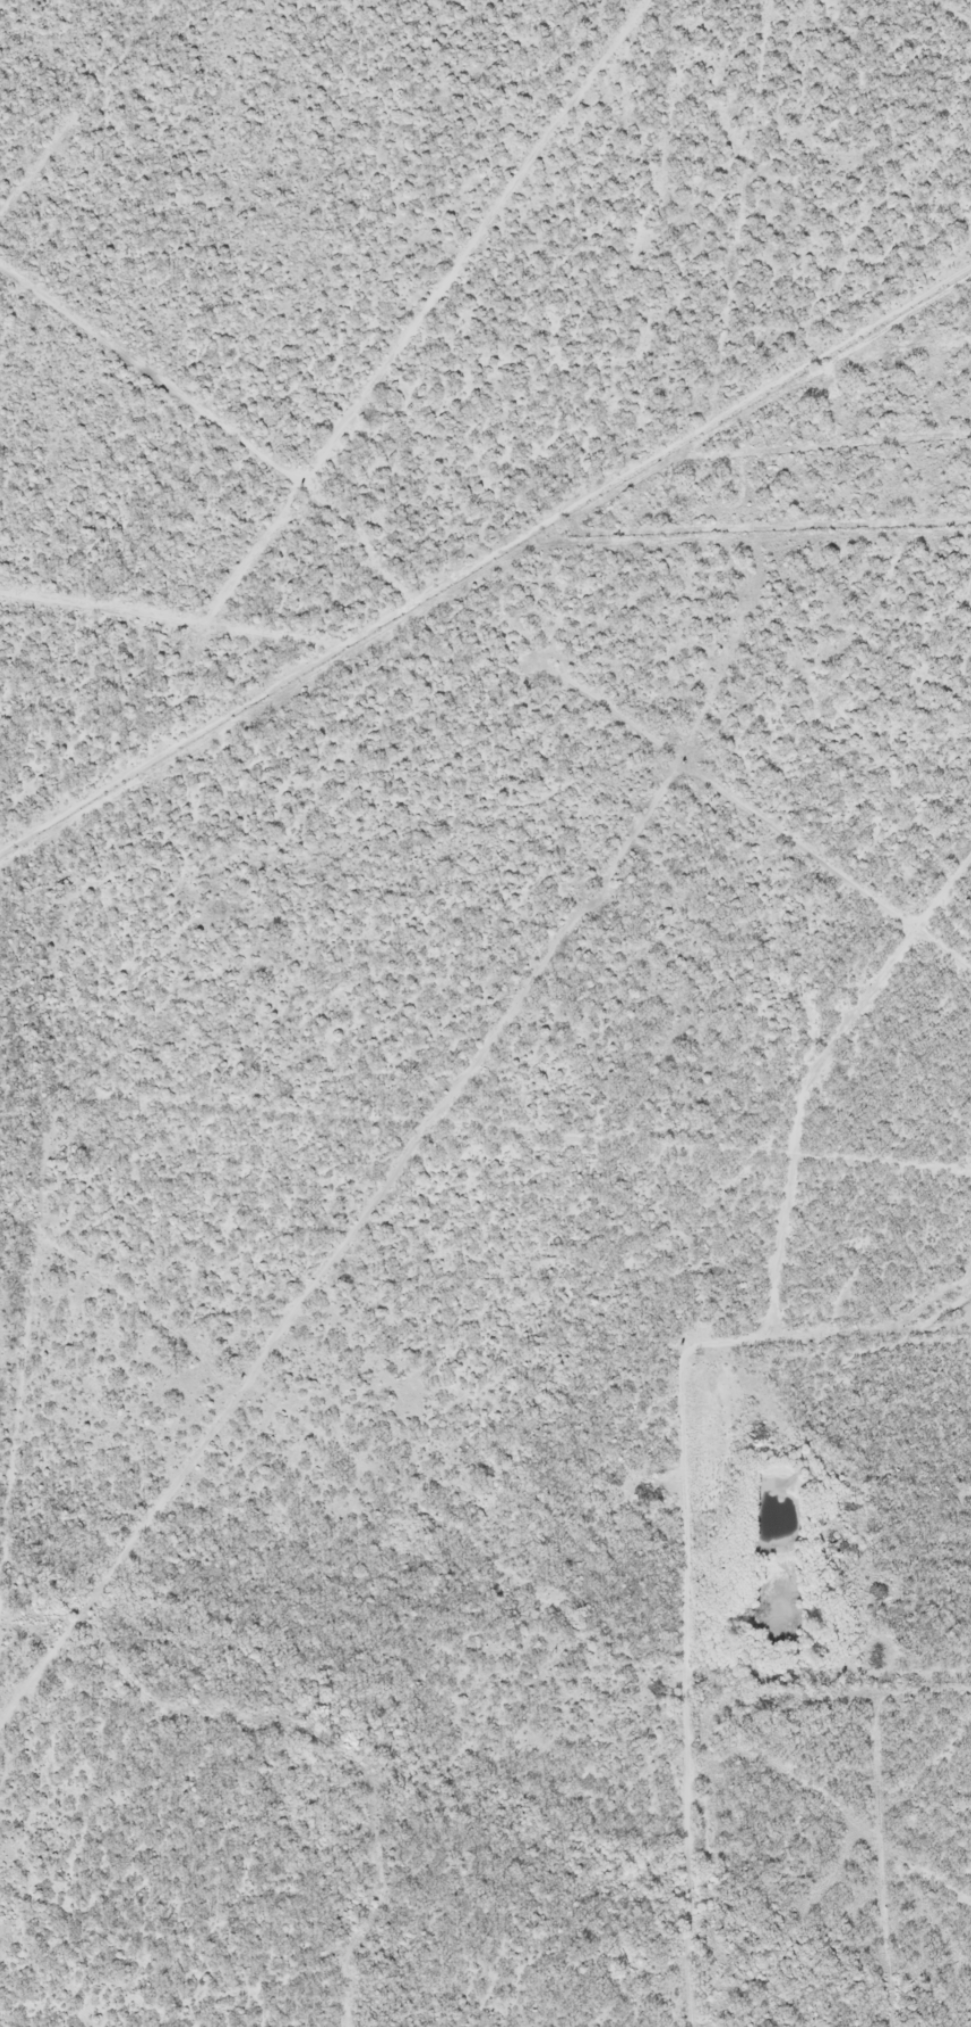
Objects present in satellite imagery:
road: (812, 1262)

